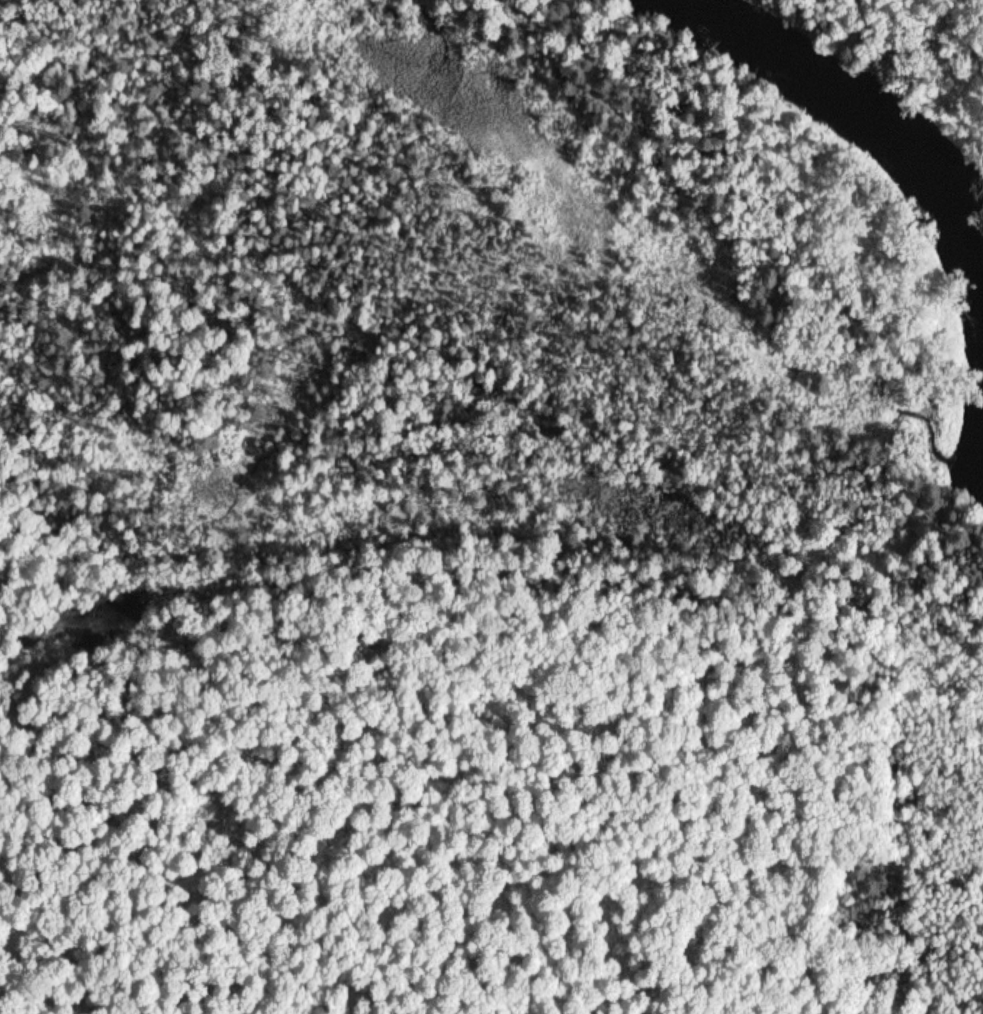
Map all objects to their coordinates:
river: (836, 81)

